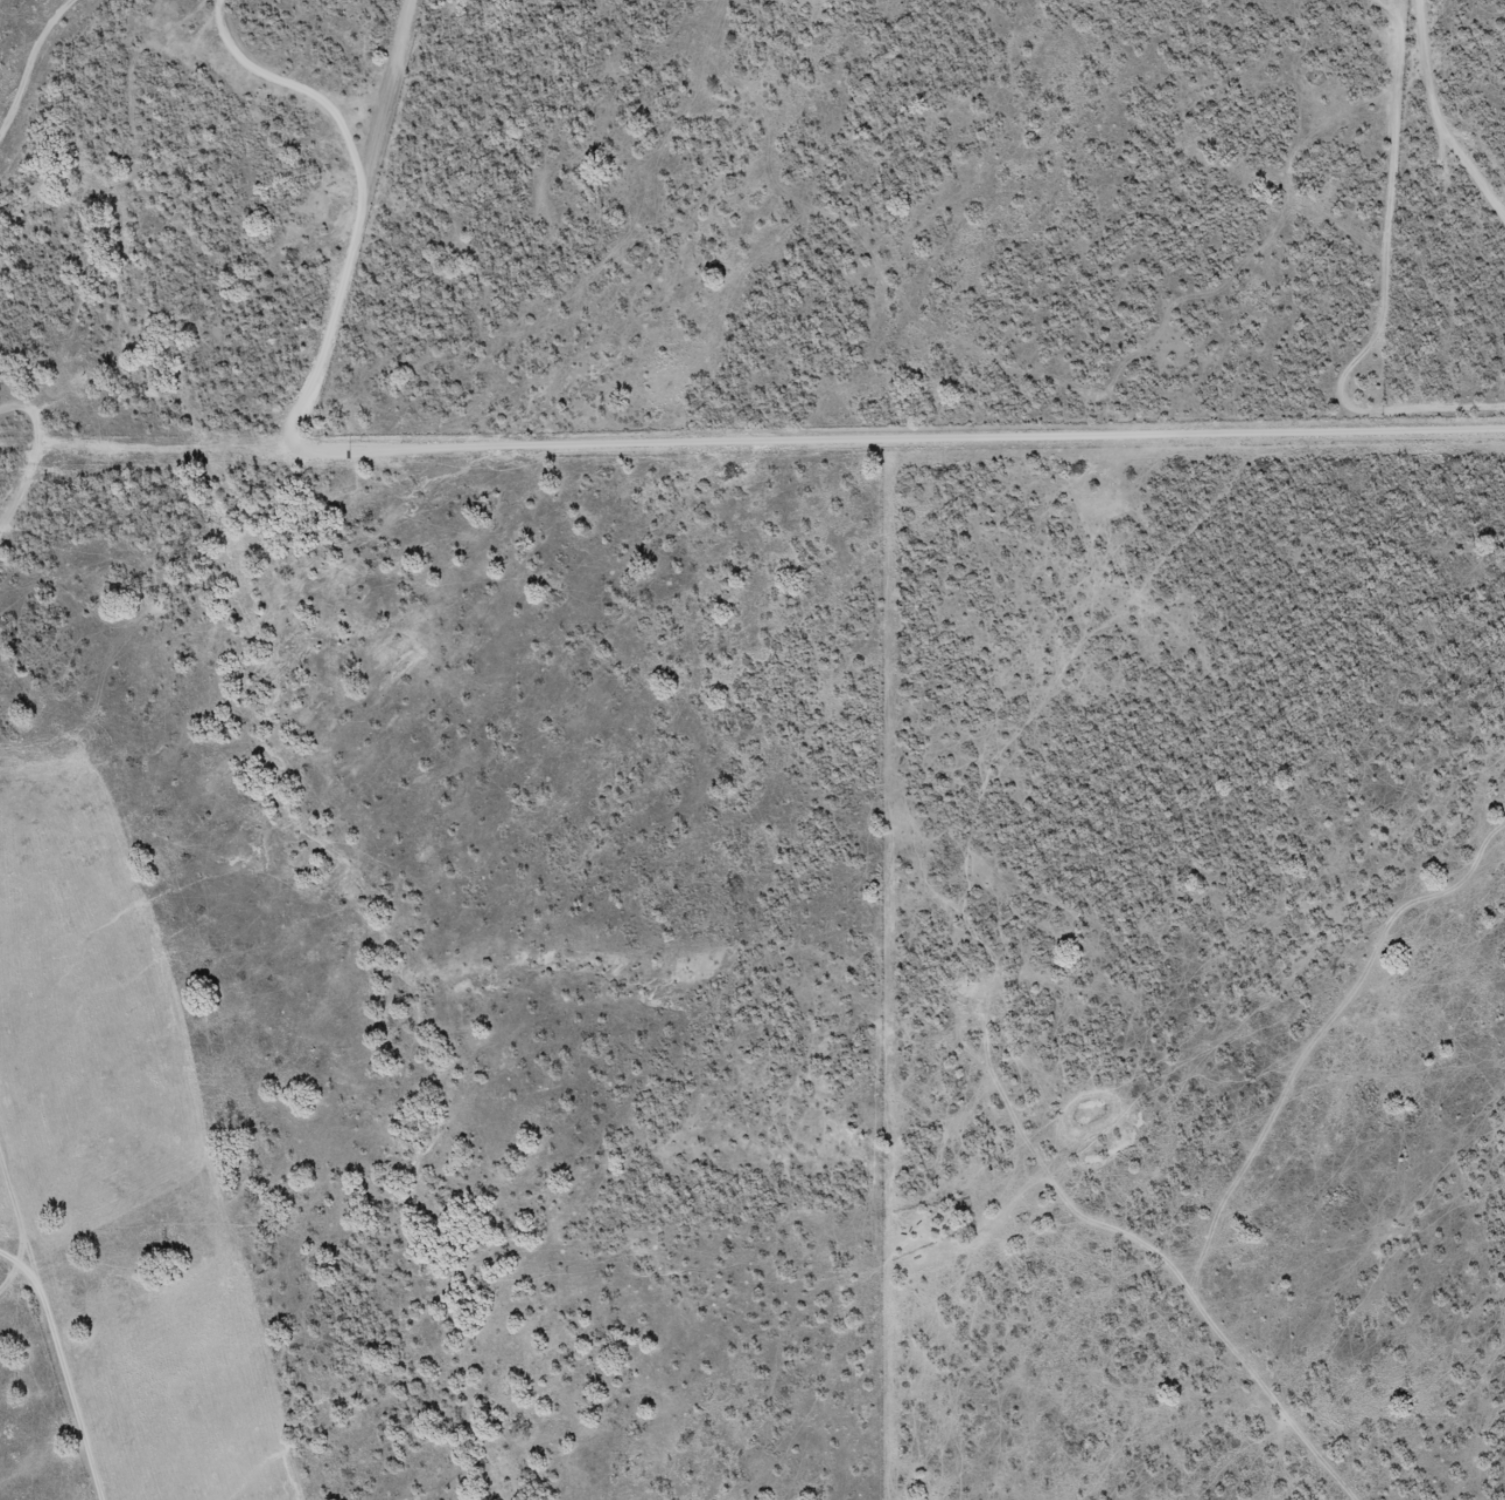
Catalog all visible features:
road: (1453, 110)
road: (121, 286)
road: (20, 1257)
road: (50, 1293)

